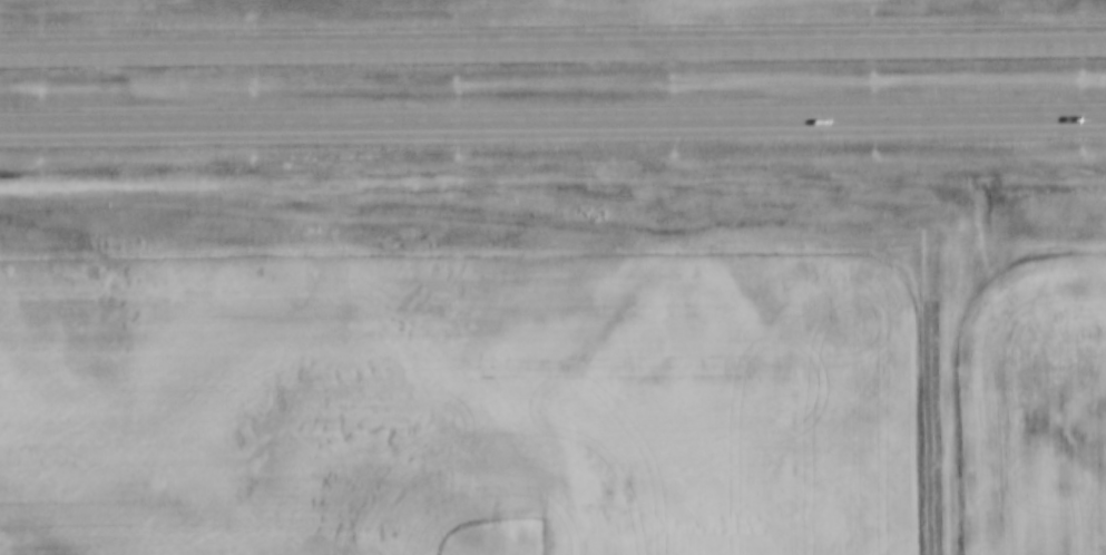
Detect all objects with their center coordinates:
road: (552, 41)
road: (552, 120)

